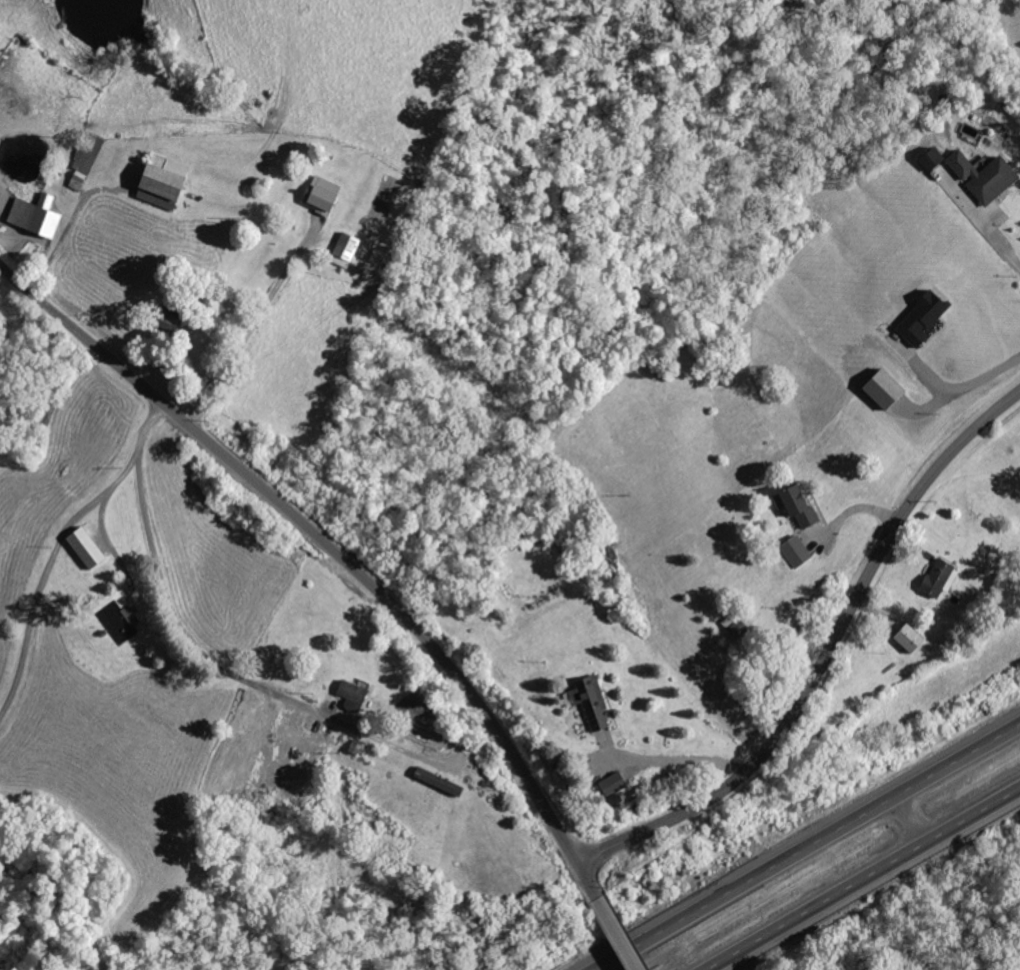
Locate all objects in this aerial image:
building: (92, 161)
building: (981, 173)
building: (172, 183)
building: (328, 196)
building: (40, 215)
road: (72, 224)
road: (996, 234)
building: (349, 250)
building: (929, 318)
road: (249, 333)
building: (891, 389)
road: (960, 391)
building: (803, 506)
road: (851, 513)
road: (316, 532)
road: (59, 547)
building: (91, 548)
building: (801, 552)
building: (943, 578)
building: (126, 626)
building: (742, 629)
building: (916, 638)
road: (823, 656)
road: (225, 666)
building: (358, 696)
building: (599, 704)
road: (670, 762)
building: (444, 781)
building: (619, 784)
road: (807, 850)
road: (863, 877)
road: (589, 881)
road: (621, 937)

